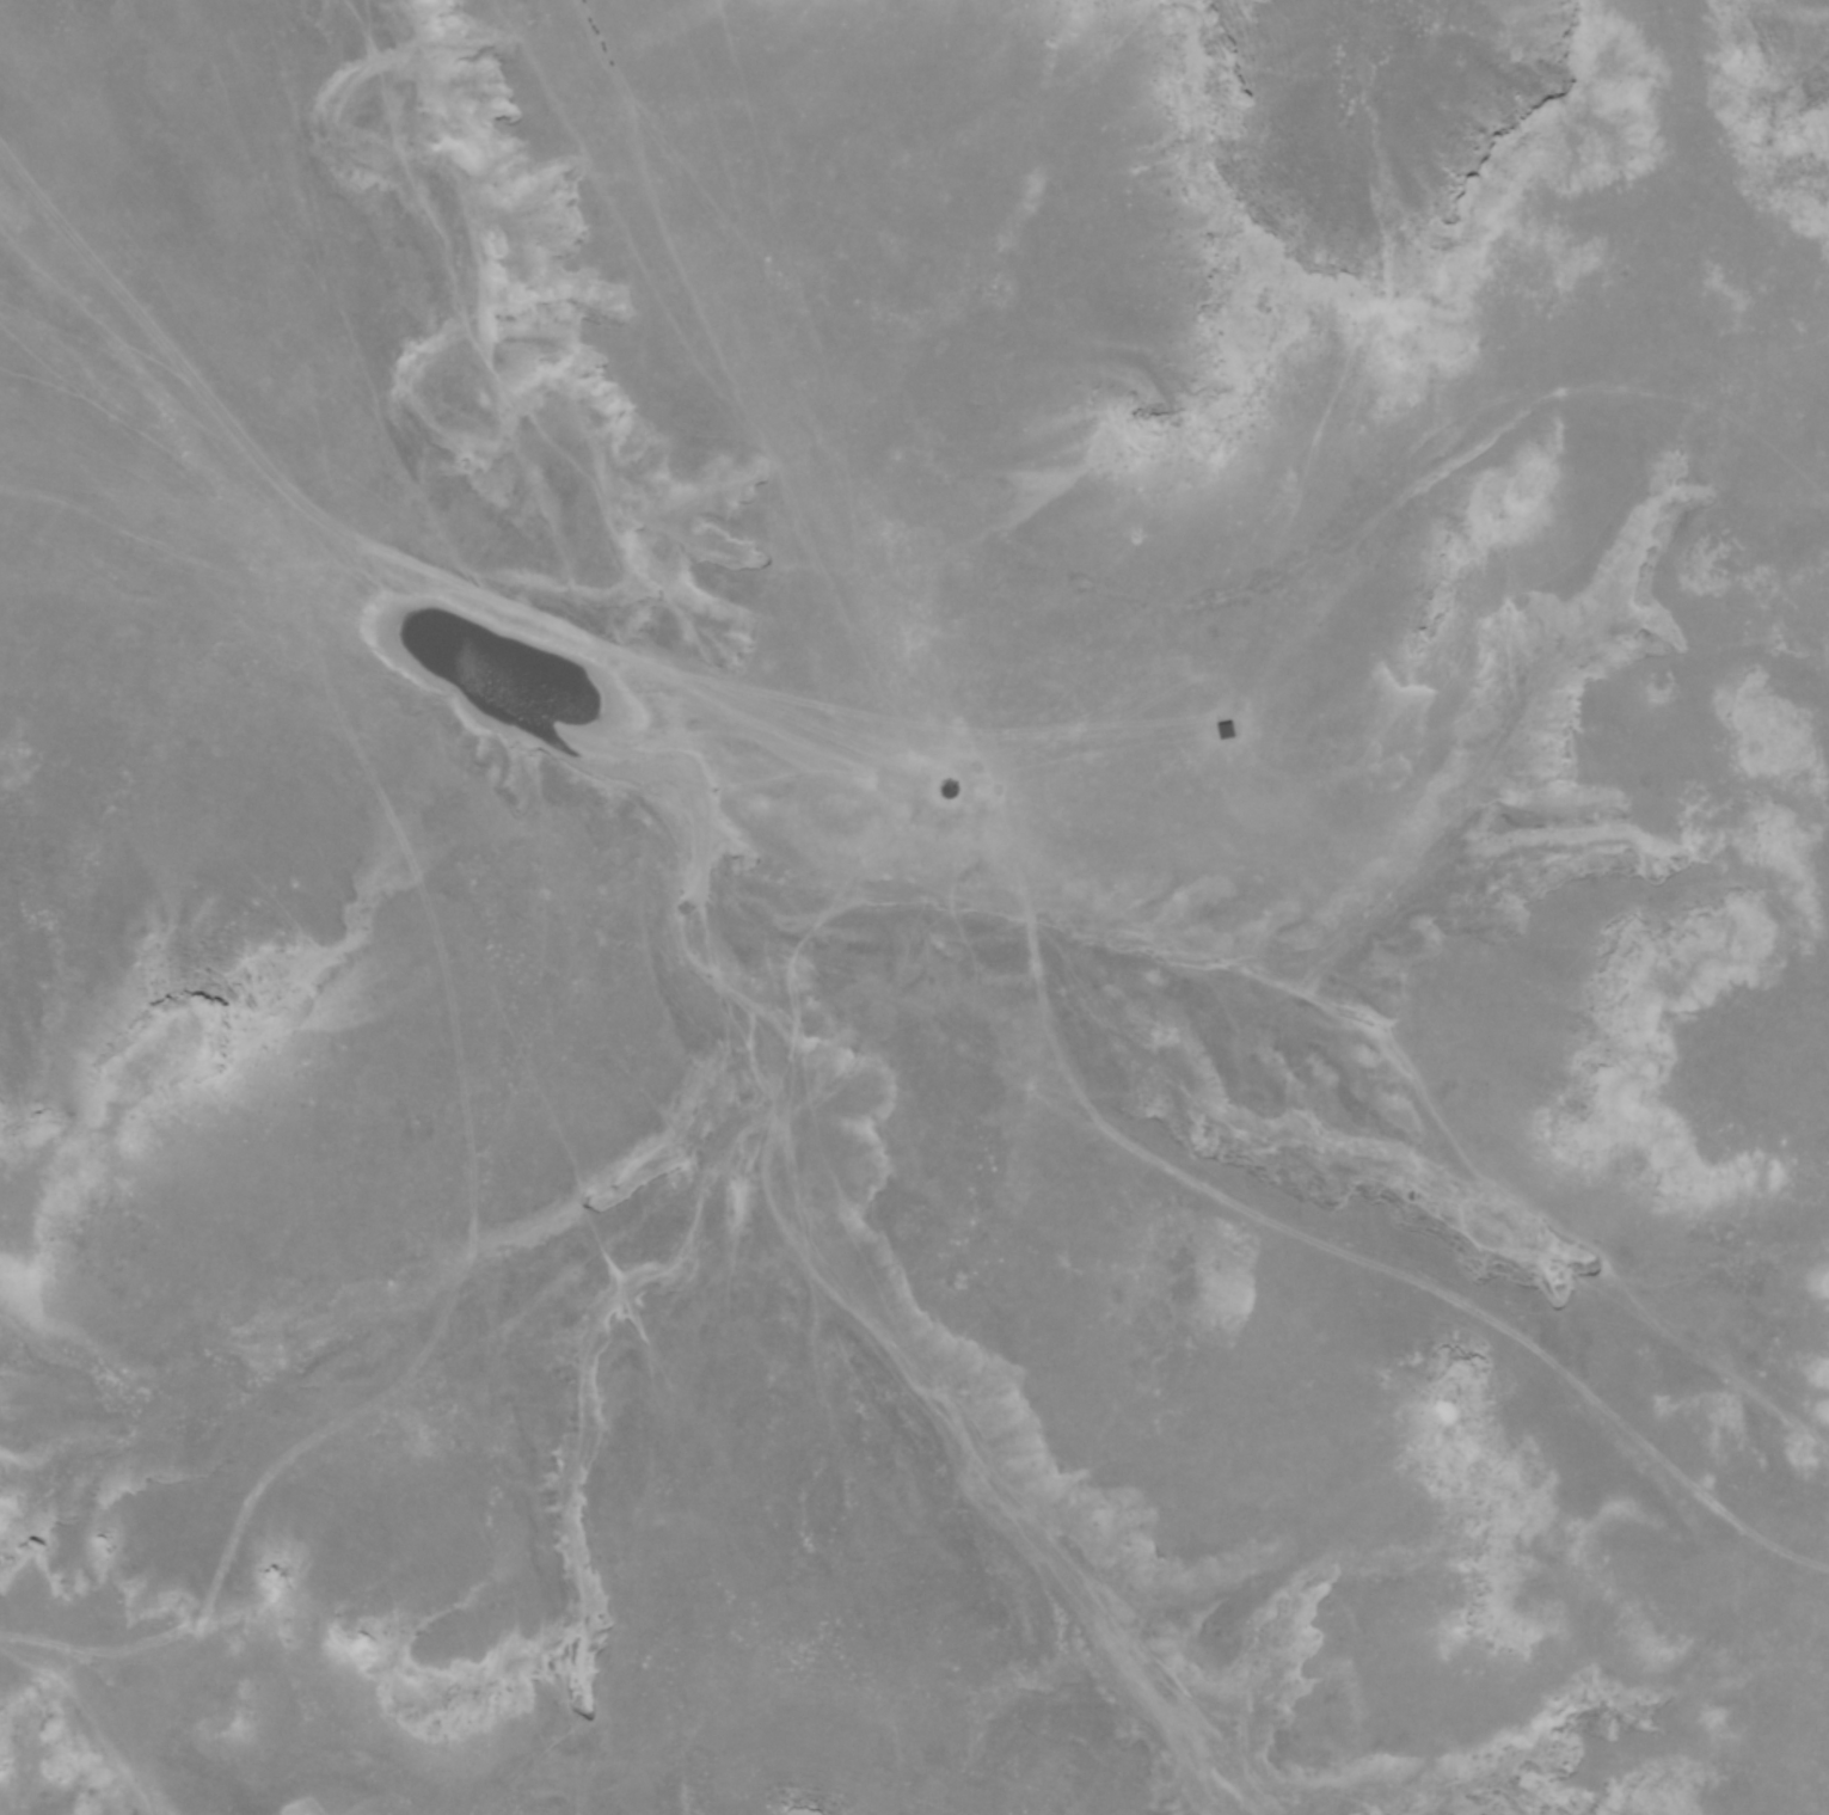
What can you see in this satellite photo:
building: (1226, 730)

